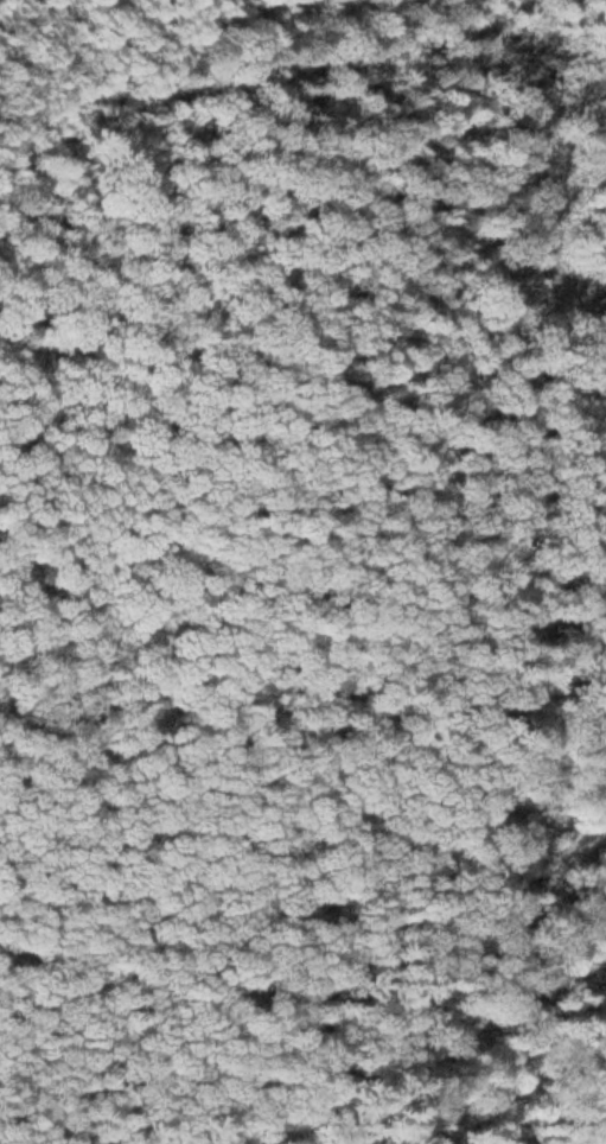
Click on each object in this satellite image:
road: (199, 900)

